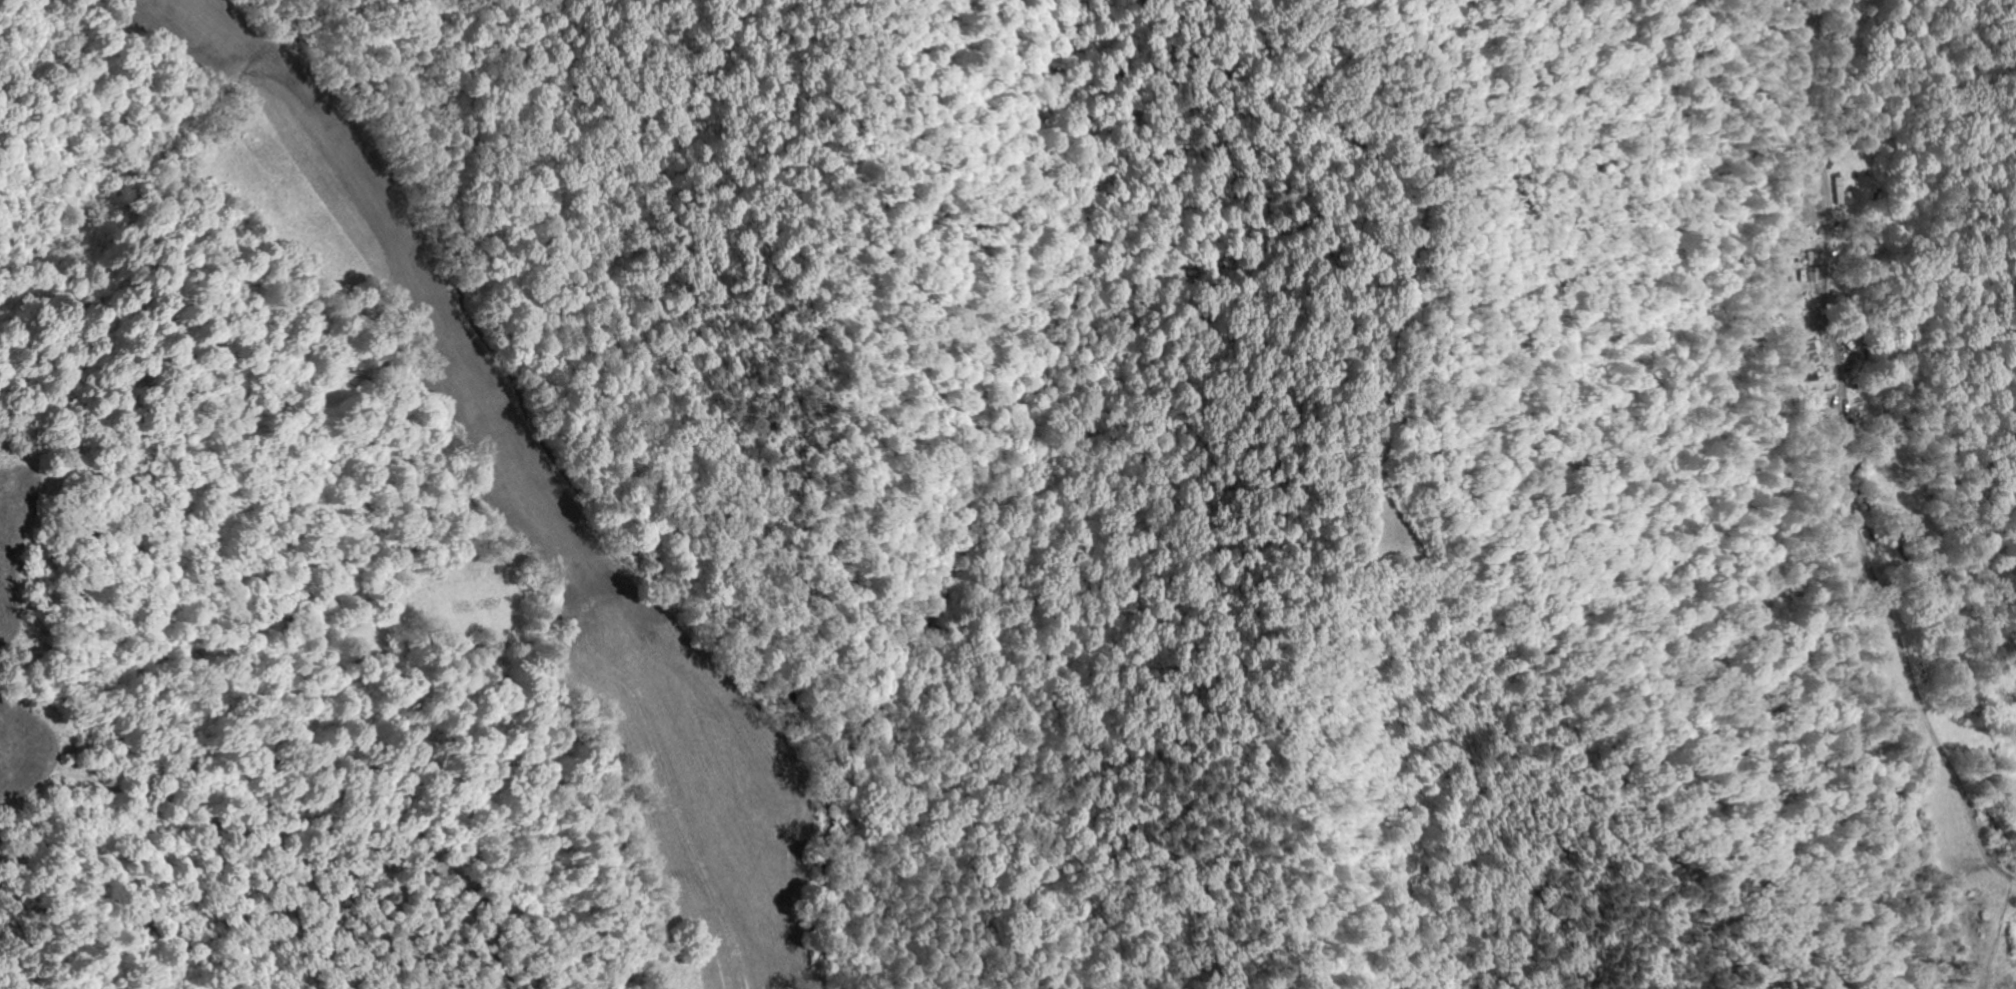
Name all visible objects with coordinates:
building: (1804, 353)
road: (1864, 549)

